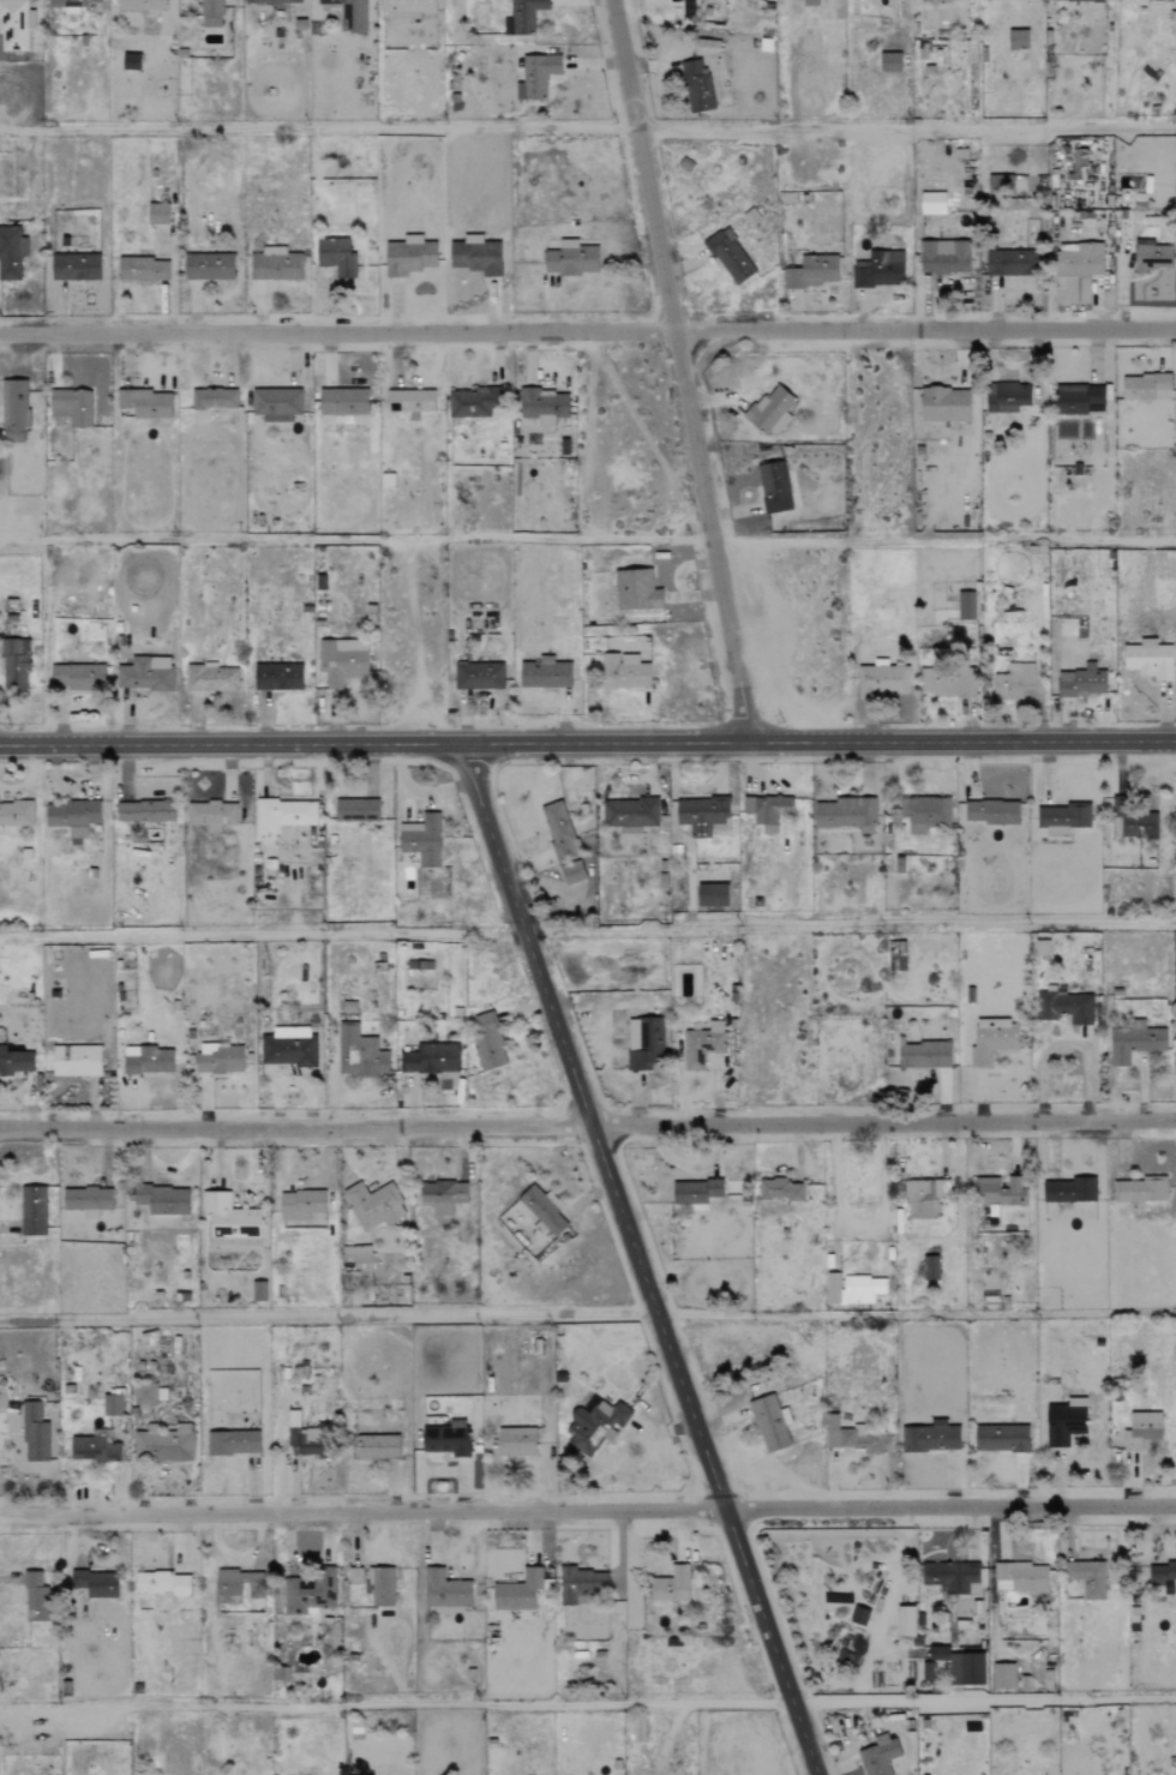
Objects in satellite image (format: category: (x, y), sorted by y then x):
building: (950, 0)
building: (1080, 0)
building: (275, 1)
building: (707, 1)
building: (809, 2)
building: (68, 4)
building: (139, 5)
building: (406, 7)
building: (210, 13)
building: (349, 14)
building: (524, 14)
building: (14, 24)
building: (1018, 40)
building: (130, 61)
building: (890, 62)
building: (535, 76)
building: (696, 85)
road: (906, 130)
building: (1000, 184)
building: (157, 214)
building: (11, 253)
building: (409, 256)
building: (475, 256)
building: (1152, 256)
building: (336, 257)
building: (730, 257)
building: (944, 257)
building: (571, 259)
building: (1079, 260)
building: (1010, 263)
building: (274, 264)
building: (208, 266)
building: (74, 268)
building: (142, 269)
building: (878, 270)
building: (812, 271)
road: (587, 331)
road: (682, 367)
building: (1146, 386)
building: (1006, 397)
building: (212, 398)
building: (1076, 398)
building: (410, 401)
building: (342, 402)
building: (473, 402)
building: (145, 403)
building: (276, 403)
building: (944, 404)
building: (544, 406)
building: (71, 407)
building: (13, 410)
building: (772, 410)
building: (385, 480)
building: (773, 487)
road: (943, 539)
building: (636, 589)
building: (965, 606)
building: (1150, 660)
building: (342, 661)
building: (14, 664)
building: (624, 672)
building: (144, 673)
building: (545, 674)
building: (478, 676)
building: (76, 677)
building: (277, 677)
building: (210, 678)
building: (881, 680)
building: (947, 680)
building: (1013, 682)
building: (1081, 683)
road: (587, 742)
building: (355, 810)
building: (768, 810)
building: (144, 811)
building: (991, 812)
building: (846, 814)
building: (925, 814)
building: (16, 815)
building: (210, 815)
building: (282, 815)
building: (701, 815)
building: (72, 816)
building: (629, 816)
building: (1062, 818)
building: (1138, 827)
building: (558, 830)
building: (421, 840)
building: (571, 872)
building: (712, 895)
road: (850, 921)
road: (262, 931)
building: (1042, 948)
building: (992, 1039)
building: (487, 1042)
building: (1135, 1042)
building: (643, 1043)
building: (702, 1045)
building: (288, 1047)
building: (359, 1053)
building: (923, 1055)
building: (430, 1059)
building: (148, 1060)
building: (218, 1060)
building: (74, 1061)
building: (16, 1062)
road: (588, 1126)
road: (689, 1168)
building: (780, 1189)
building: (1139, 1189)
building: (998, 1191)
building: (1069, 1191)
building: (696, 1193)
building: (442, 1195)
building: (924, 1197)
building: (161, 1199)
building: (88, 1200)
building: (300, 1205)
building: (373, 1205)
building: (541, 1209)
building: (32, 1211)
building: (230, 1221)
road: (862, 1223)
building: (355, 1260)
road: (638, 1260)
building: (930, 1267)
building: (833, 1288)
building: (862, 1289)
building: (258, 1291)
road: (328, 1314)
building: (110, 1405)
building: (1066, 1422)
building: (595, 1426)
building: (1141, 1429)
building: (34, 1433)
building: (302, 1435)
building: (851, 1435)
building: (930, 1438)
building: (1001, 1438)
building: (446, 1439)
building: (516, 1441)
building: (163, 1443)
building: (233, 1443)
building: (373, 1446)
building: (92, 1449)
road: (588, 1512)
building: (1162, 1572)
building: (354, 1576)
building: (1020, 1577)
building: (956, 1578)
building: (1087, 1578)
building: (161, 1583)
building: (95, 1584)
building: (581, 1584)
building: (670, 1585)
building: (238, 1587)
building: (382, 1587)
building: (445, 1591)
building: (518, 1591)
building: (306, 1594)
building: (35, 1597)
building: (859, 1615)
building: (938, 1653)
building: (967, 1668)
building: (1003, 1675)
road: (983, 1701)
road: (395, 1704)
building: (637, 1731)
building: (878, 1756)

